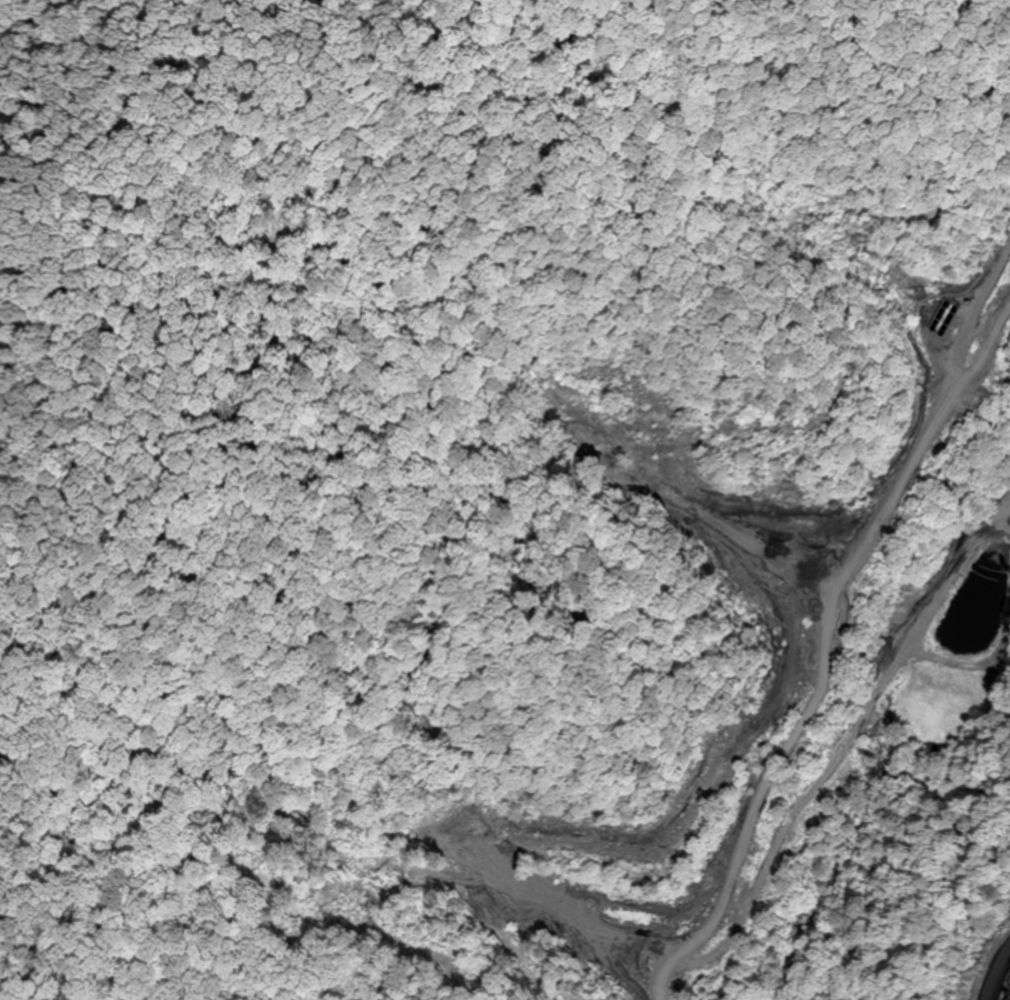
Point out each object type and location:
road: (1004, 993)

